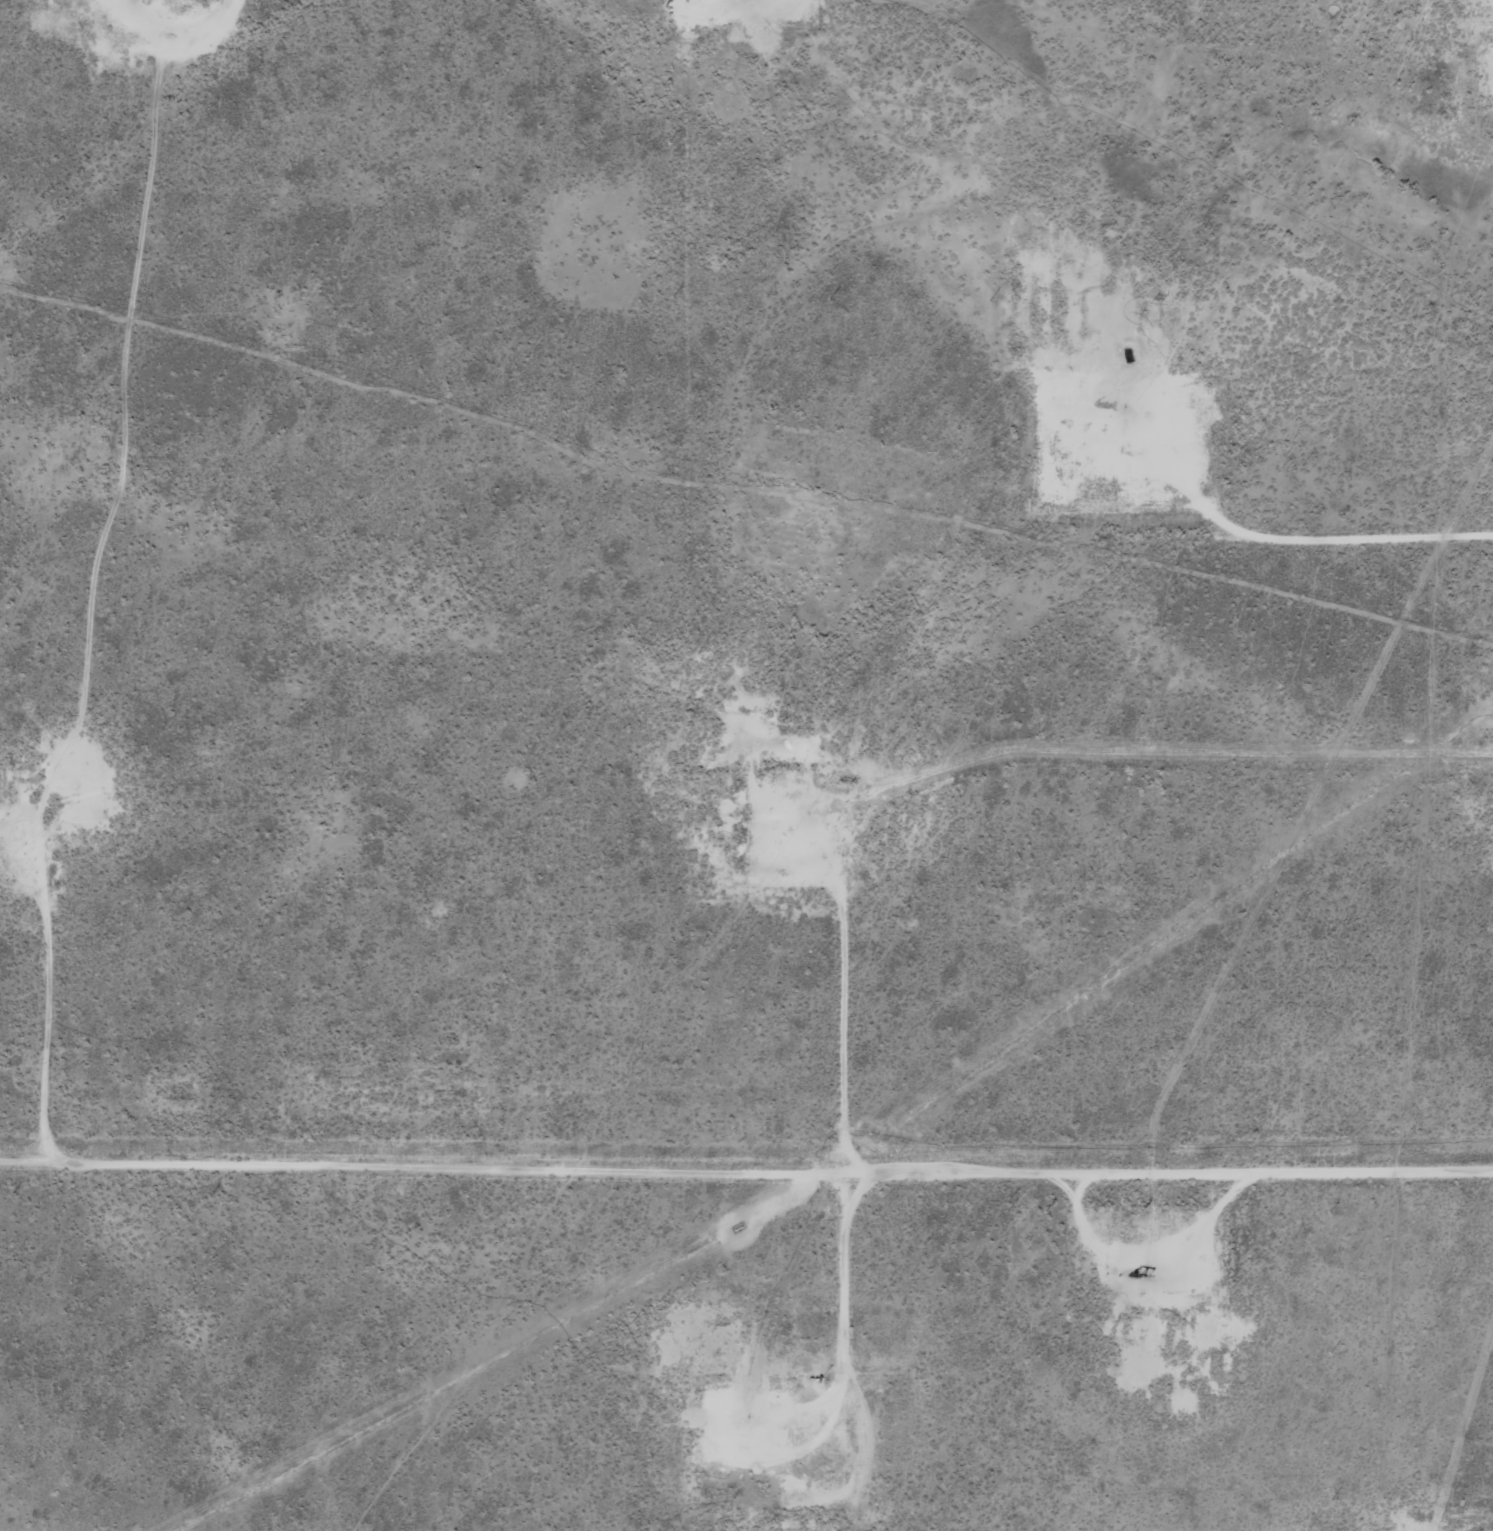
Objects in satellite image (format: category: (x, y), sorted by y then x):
road: (791, 12)
road: (124, 564)
road: (746, 1127)

